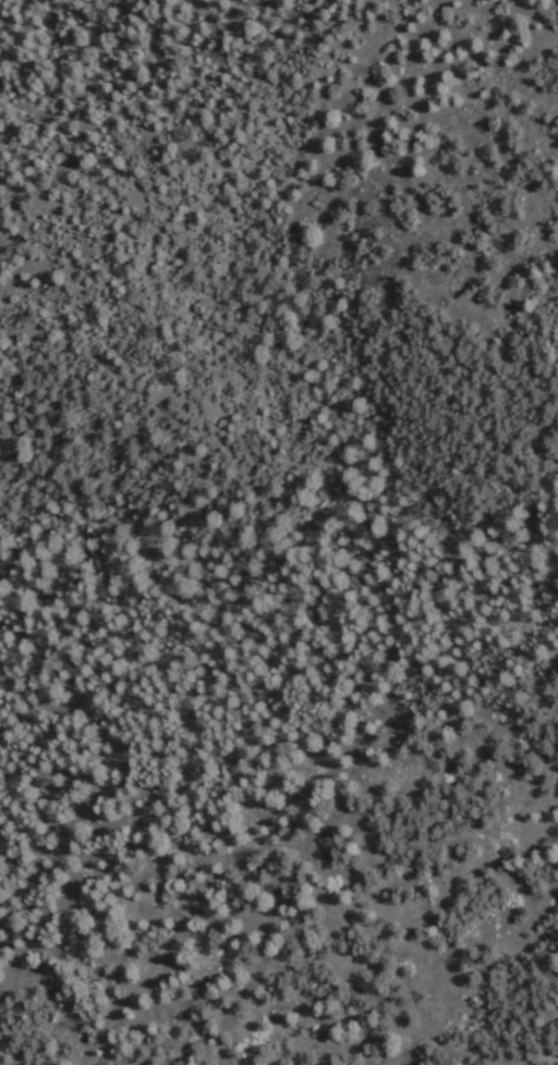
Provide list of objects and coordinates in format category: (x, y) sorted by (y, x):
road: (281, 566)
road: (112, 738)
road: (238, 751)

